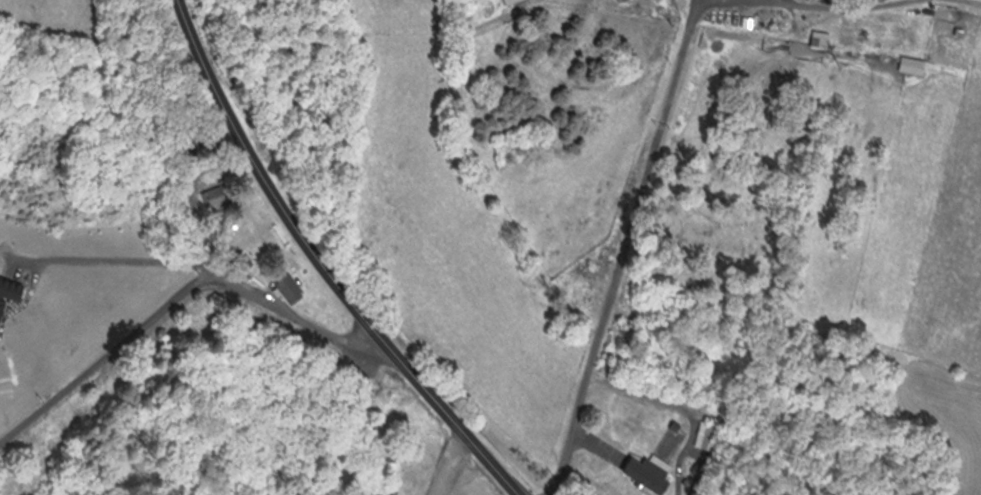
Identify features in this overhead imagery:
road: (976, 0)
building: (505, 2)
road: (845, 6)
building: (813, 40)
building: (906, 66)
road: (262, 183)
building: (208, 198)
road: (622, 249)
road: (115, 259)
building: (282, 288)
building: (6, 292)
road: (178, 296)
road: (447, 422)
building: (700, 436)
road: (595, 440)
road: (434, 464)
building: (642, 473)
road: (550, 490)

